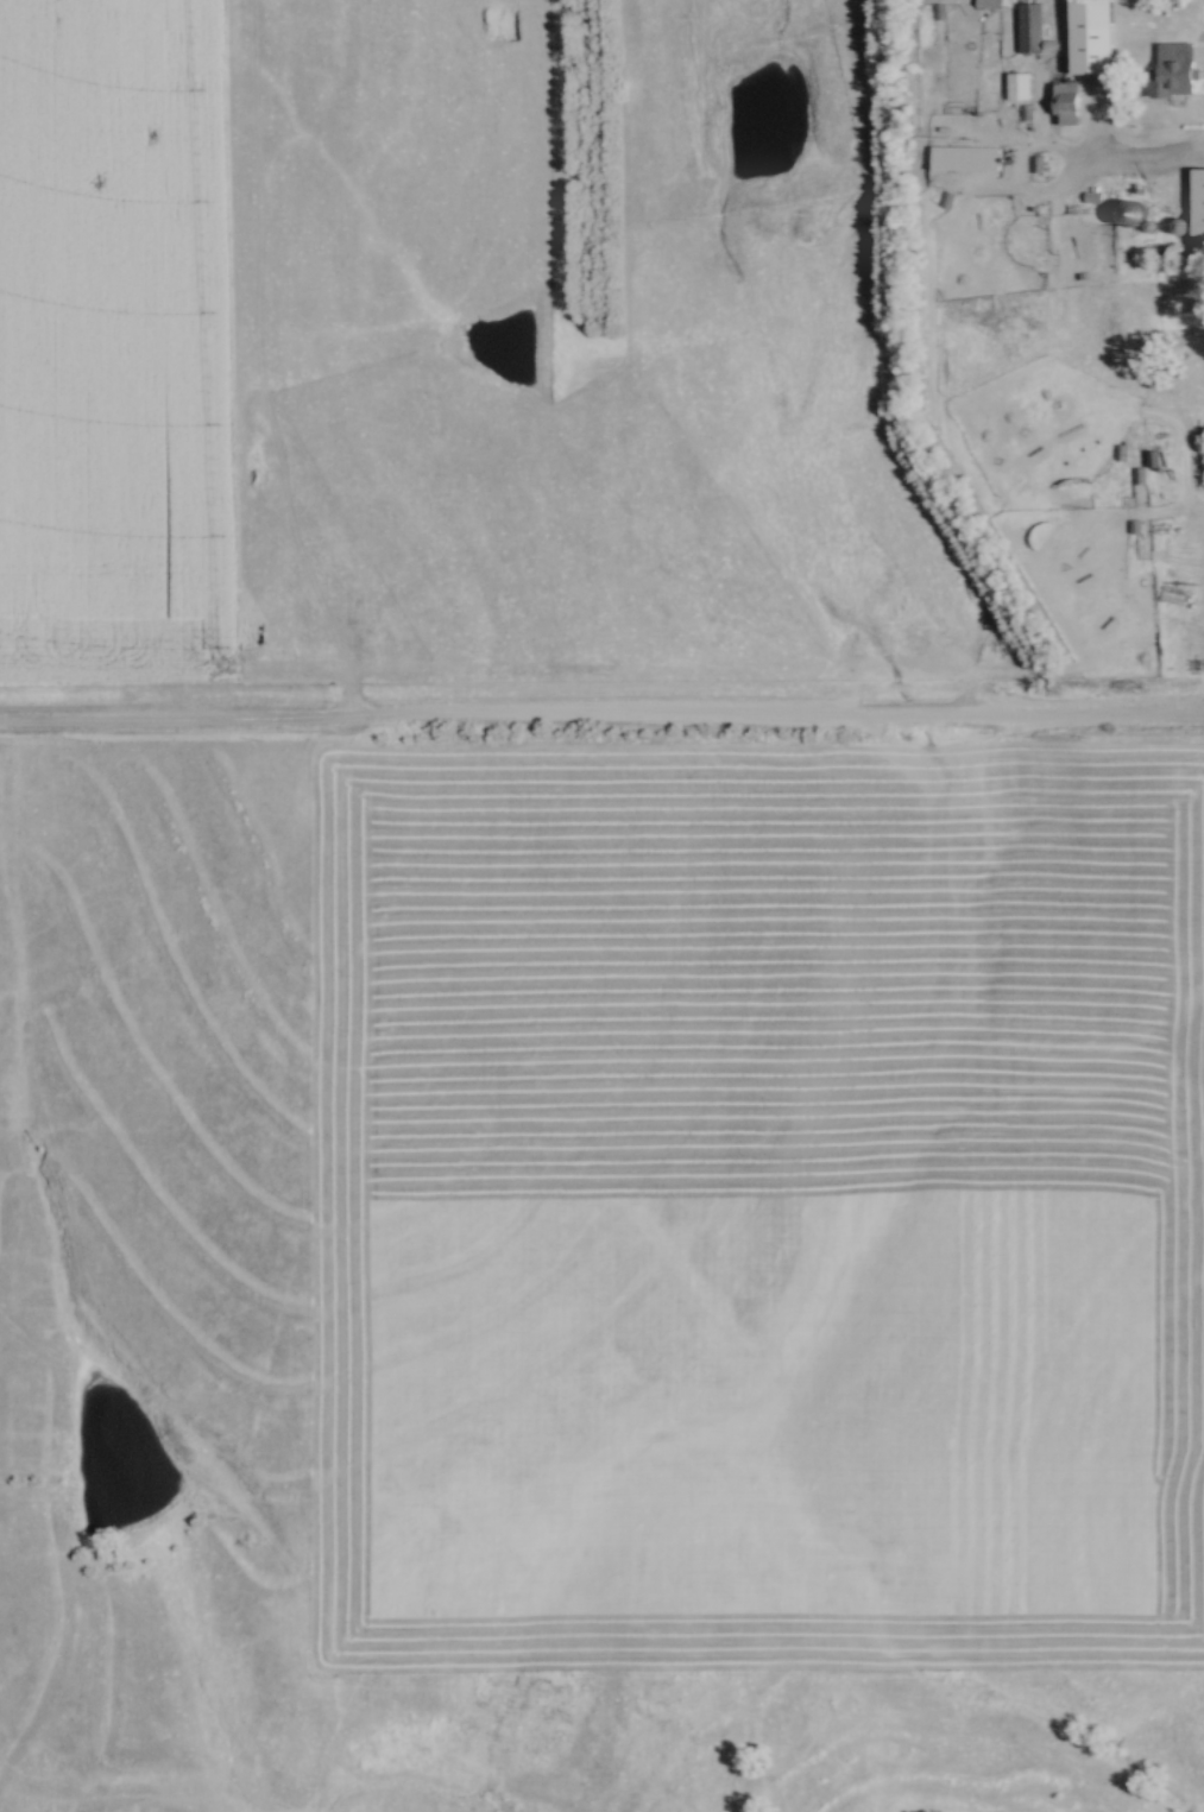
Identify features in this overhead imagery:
building: (988, 2)
building: (1030, 29)
building: (1092, 40)
building: (1174, 70)
building: (1066, 90)
building: (963, 162)
road: (1146, 164)
building: (1199, 206)
building: (1131, 213)
road: (1164, 520)
road: (601, 721)

